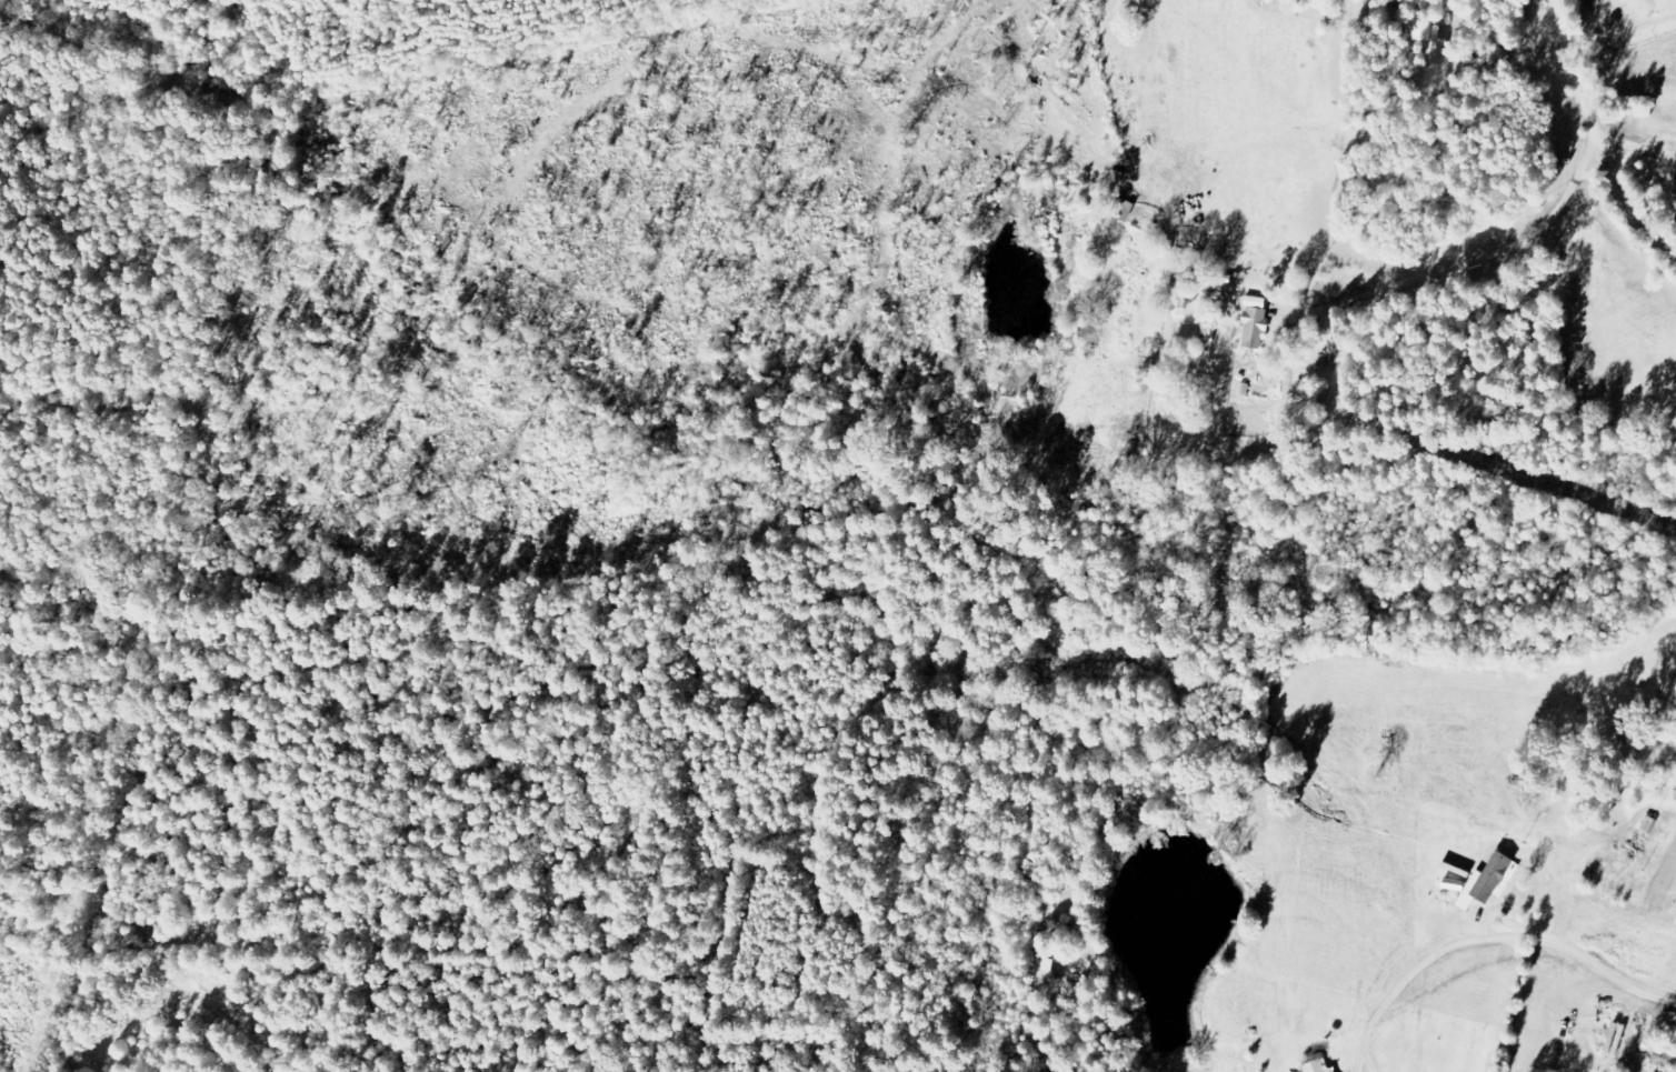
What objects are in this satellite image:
building: (1430, 32)
road: (1603, 120)
building: (1266, 322)
building: (1675, 792)
building: (1488, 882)
building: (1318, 1066)

